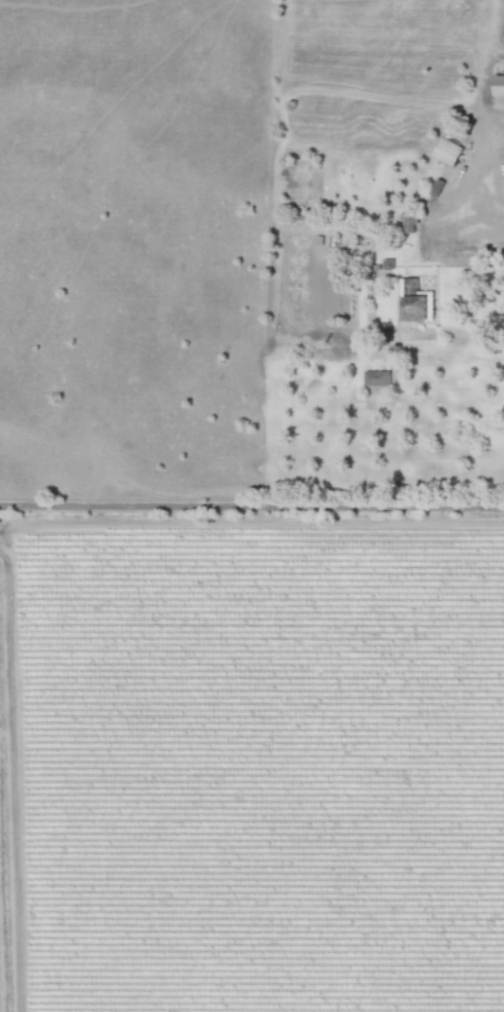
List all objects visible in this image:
building: (498, 84)
building: (446, 149)
road: (483, 165)
road: (252, 502)
crop: (252, 506)

